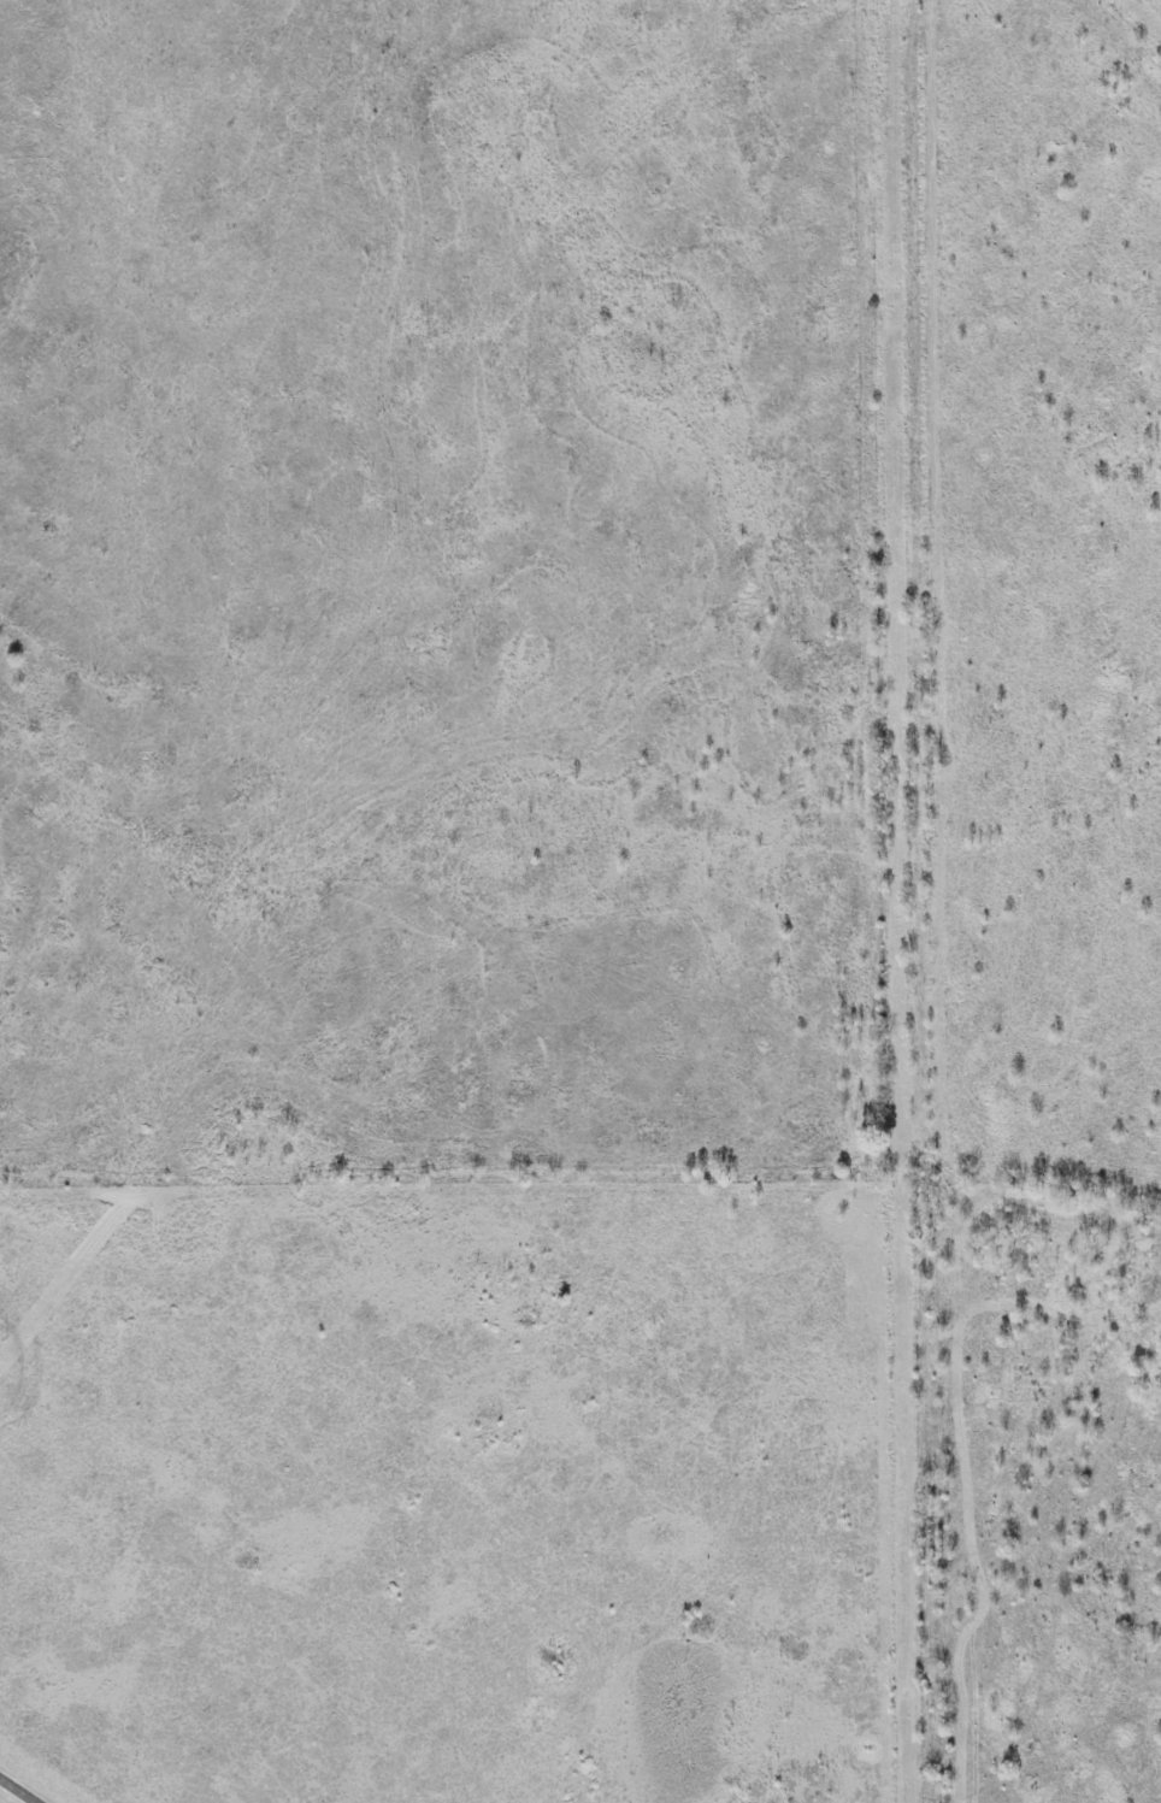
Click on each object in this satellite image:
road: (18, 1790)

